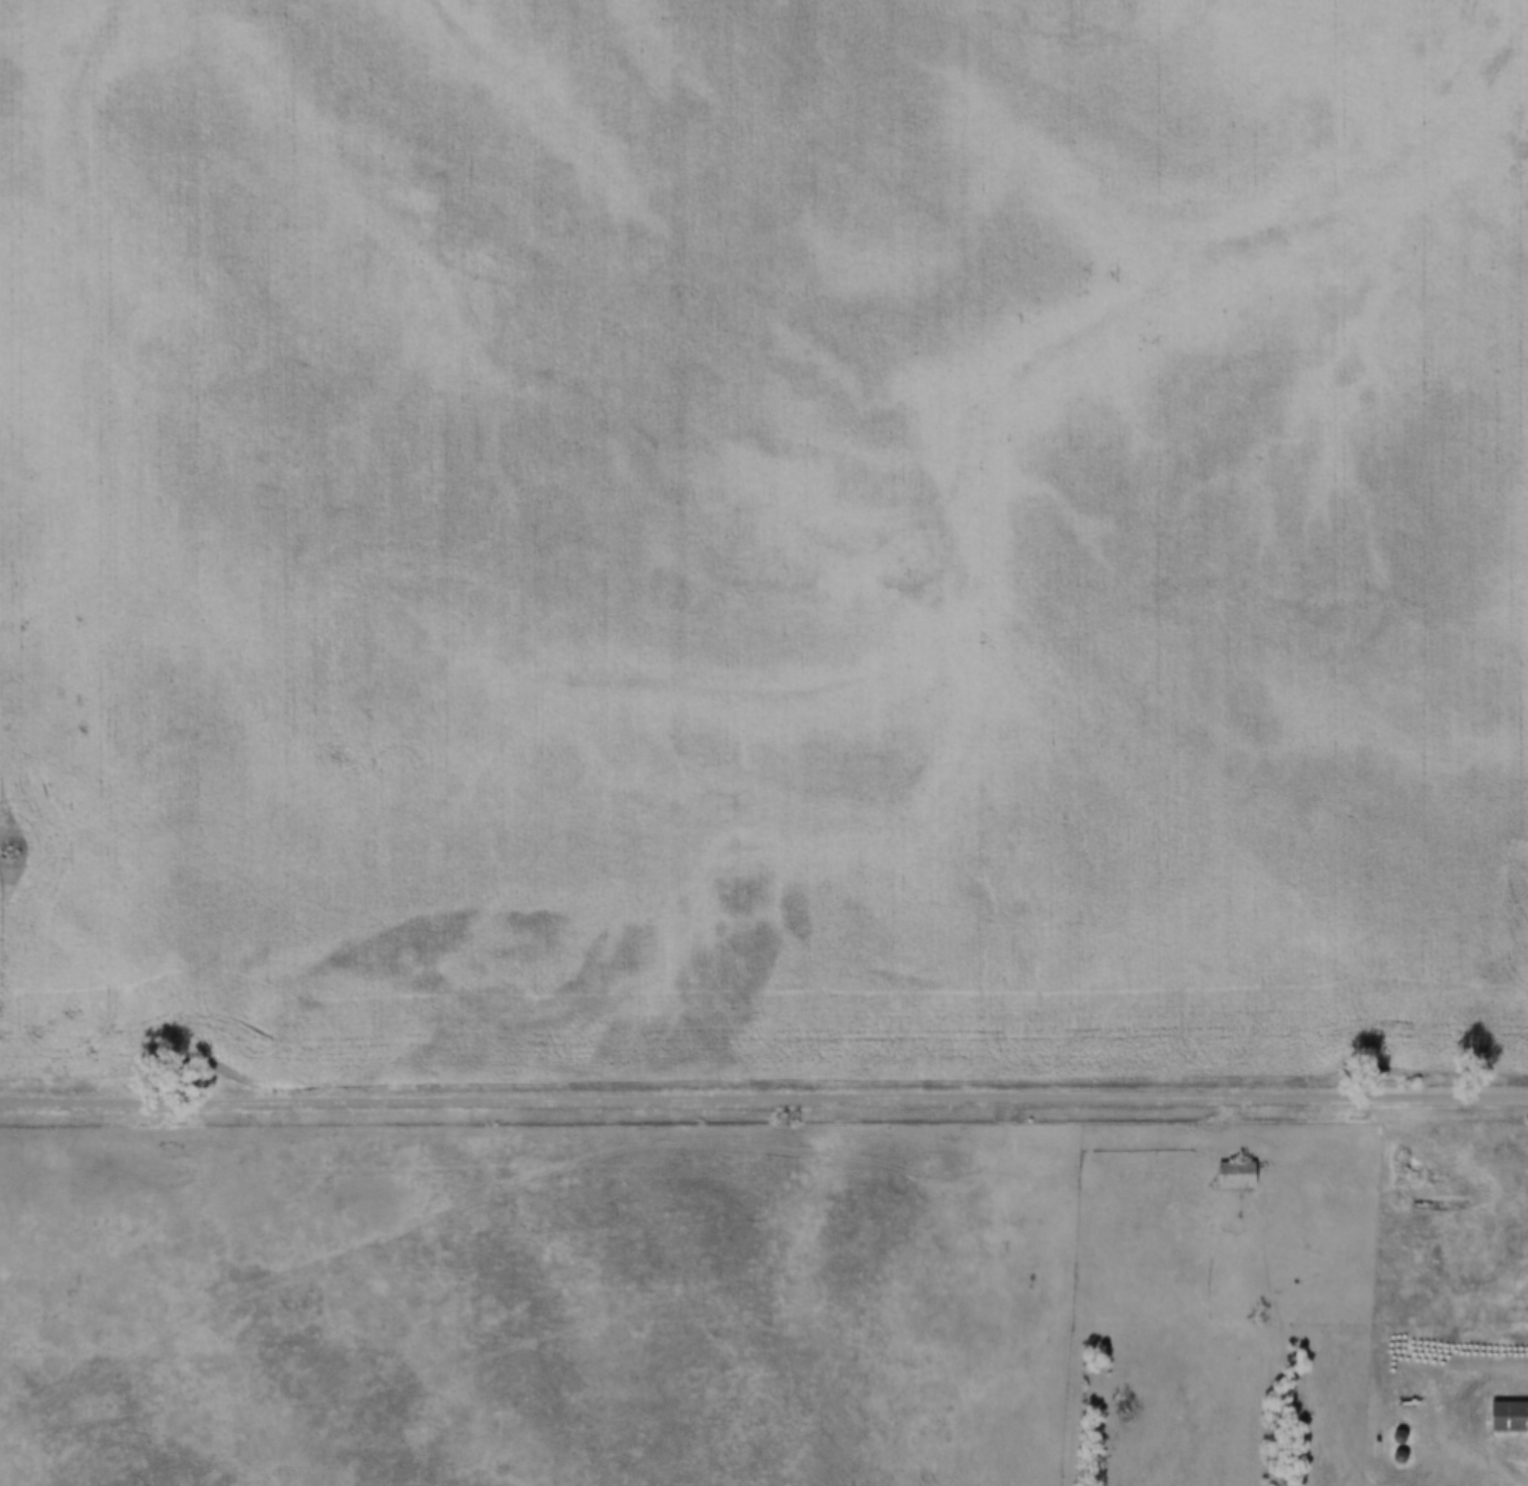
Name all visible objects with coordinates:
road: (763, 1096)
building: (1225, 1173)
road: (1336, 1336)
building: (1504, 1416)
building: (1389, 1436)
silo: (1389, 1436)
building: (1390, 1456)
silo: (1390, 1456)
building: (1399, 1457)

